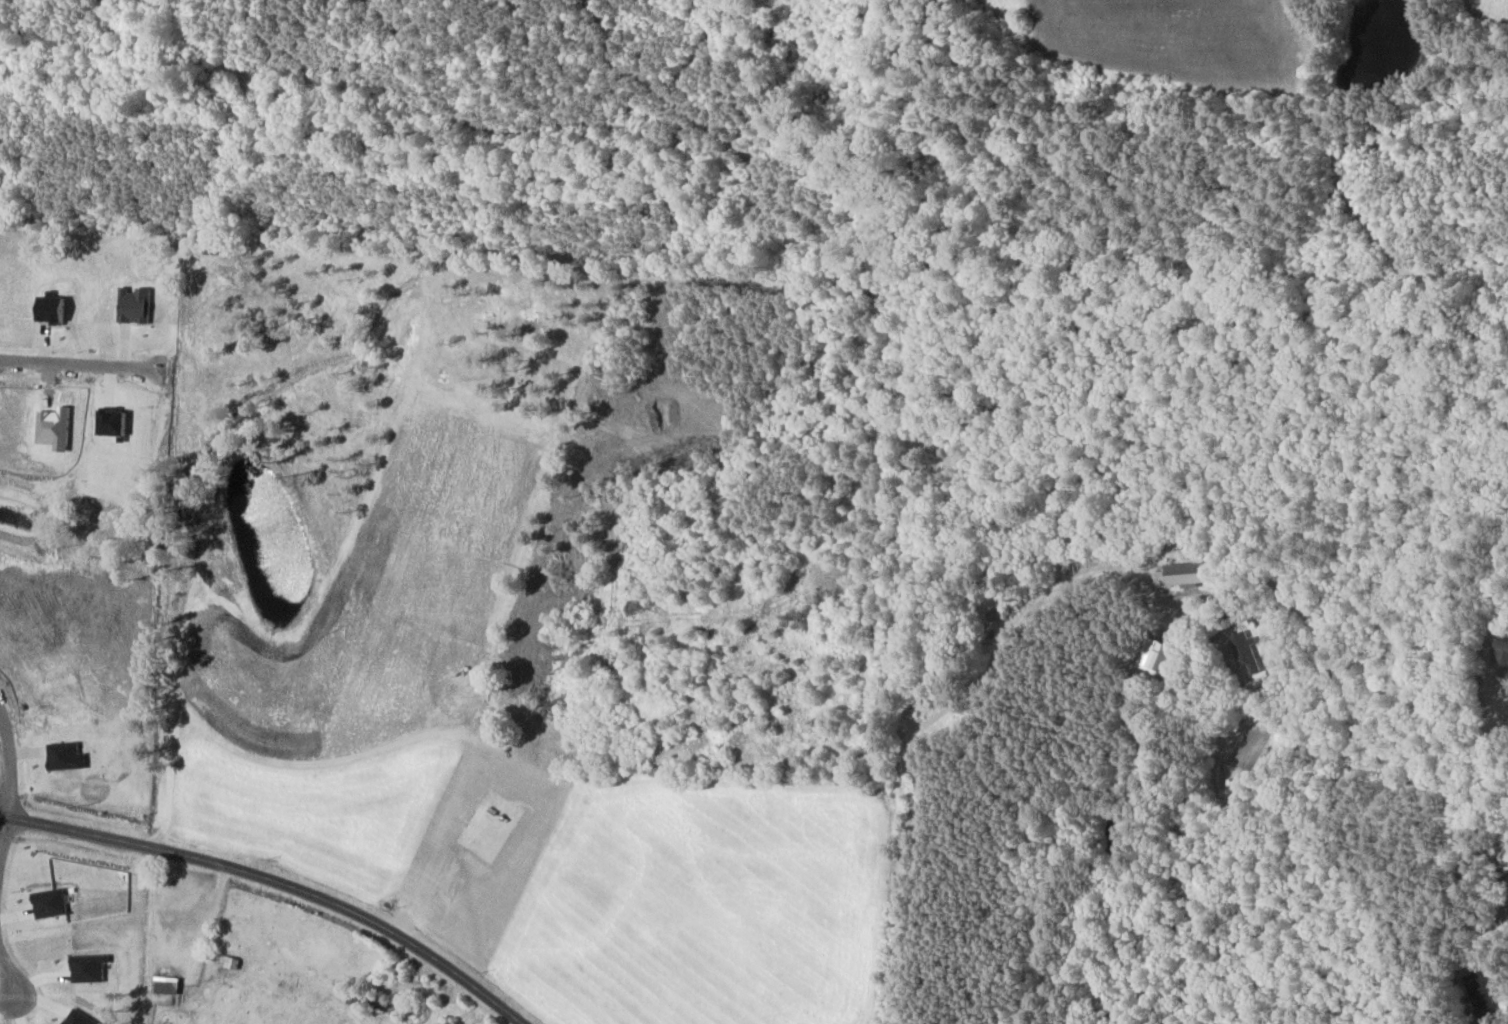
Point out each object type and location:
road: (77, 364)
building: (1189, 573)
building: (1245, 650)
building: (1158, 655)
road: (11, 762)
road: (1347, 778)
road: (3, 814)
road: (3, 832)
building: (1505, 851)
road: (279, 881)
building: (230, 961)
road: (9, 974)
building: (168, 985)

